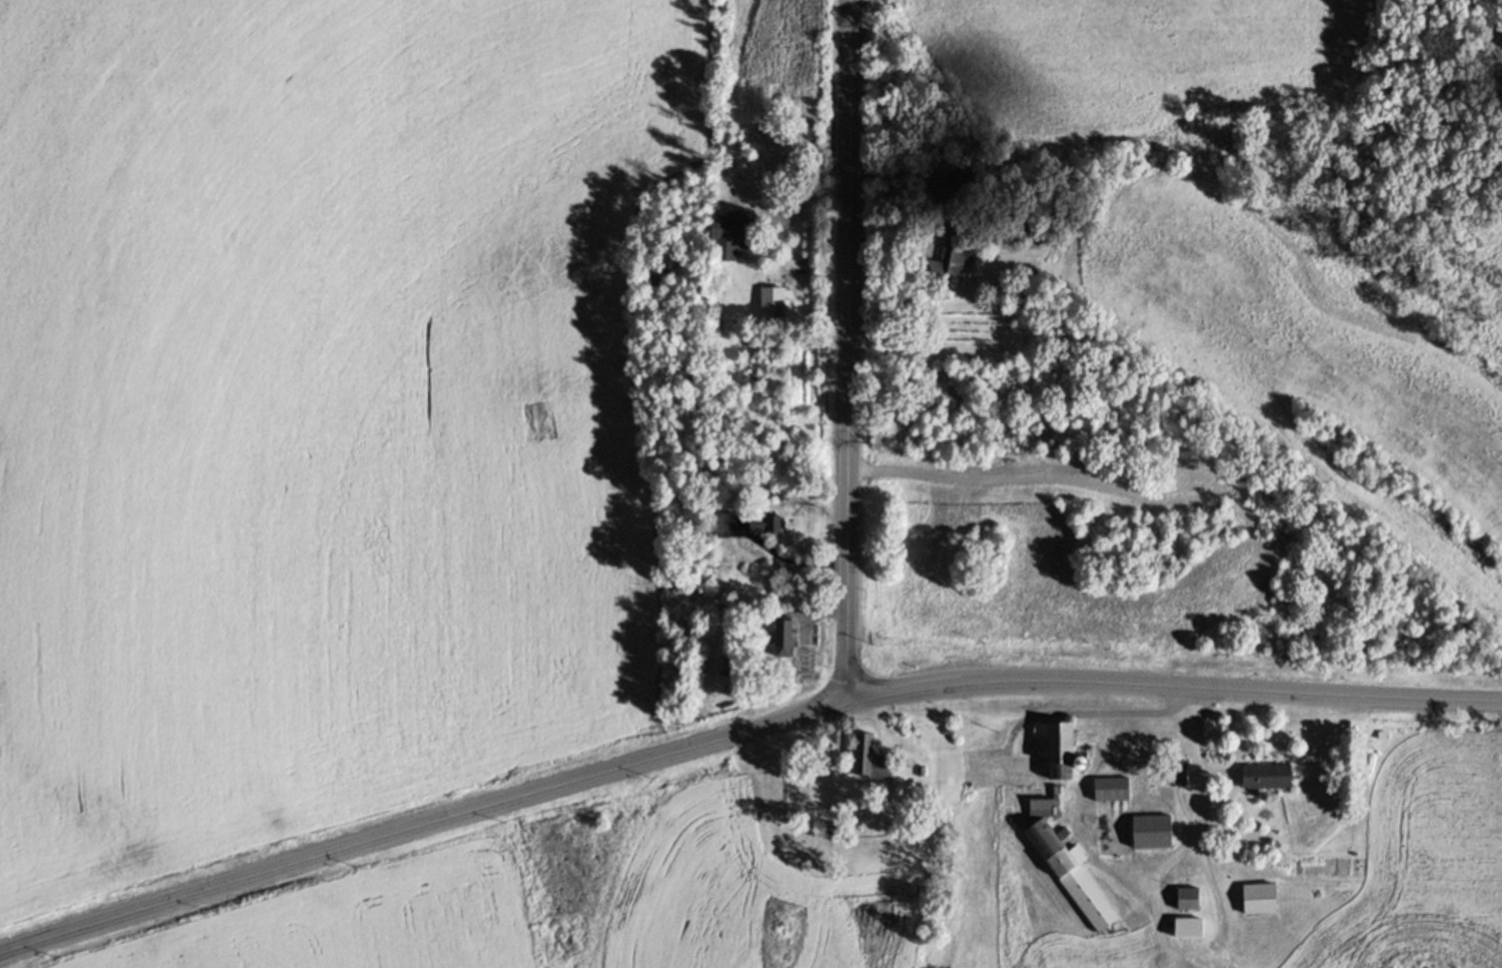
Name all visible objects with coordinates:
building: (1498, 38)
building: (933, 156)
building: (967, 176)
road: (800, 205)
building: (733, 231)
building: (946, 258)
building: (773, 301)
road: (847, 352)
building: (723, 520)
building: (764, 523)
building: (761, 615)
building: (783, 637)
building: (725, 665)
road: (1174, 686)
building: (1381, 734)
building: (1367, 744)
building: (870, 758)
building: (921, 769)
building: (1177, 771)
building: (1267, 775)
building: (1112, 787)
road: (423, 824)
building: (1063, 825)
road: (1195, 825)
building: (833, 827)
building: (1152, 830)
building: (1215, 847)
building: (1189, 897)
building: (1259, 898)
building: (1188, 925)

